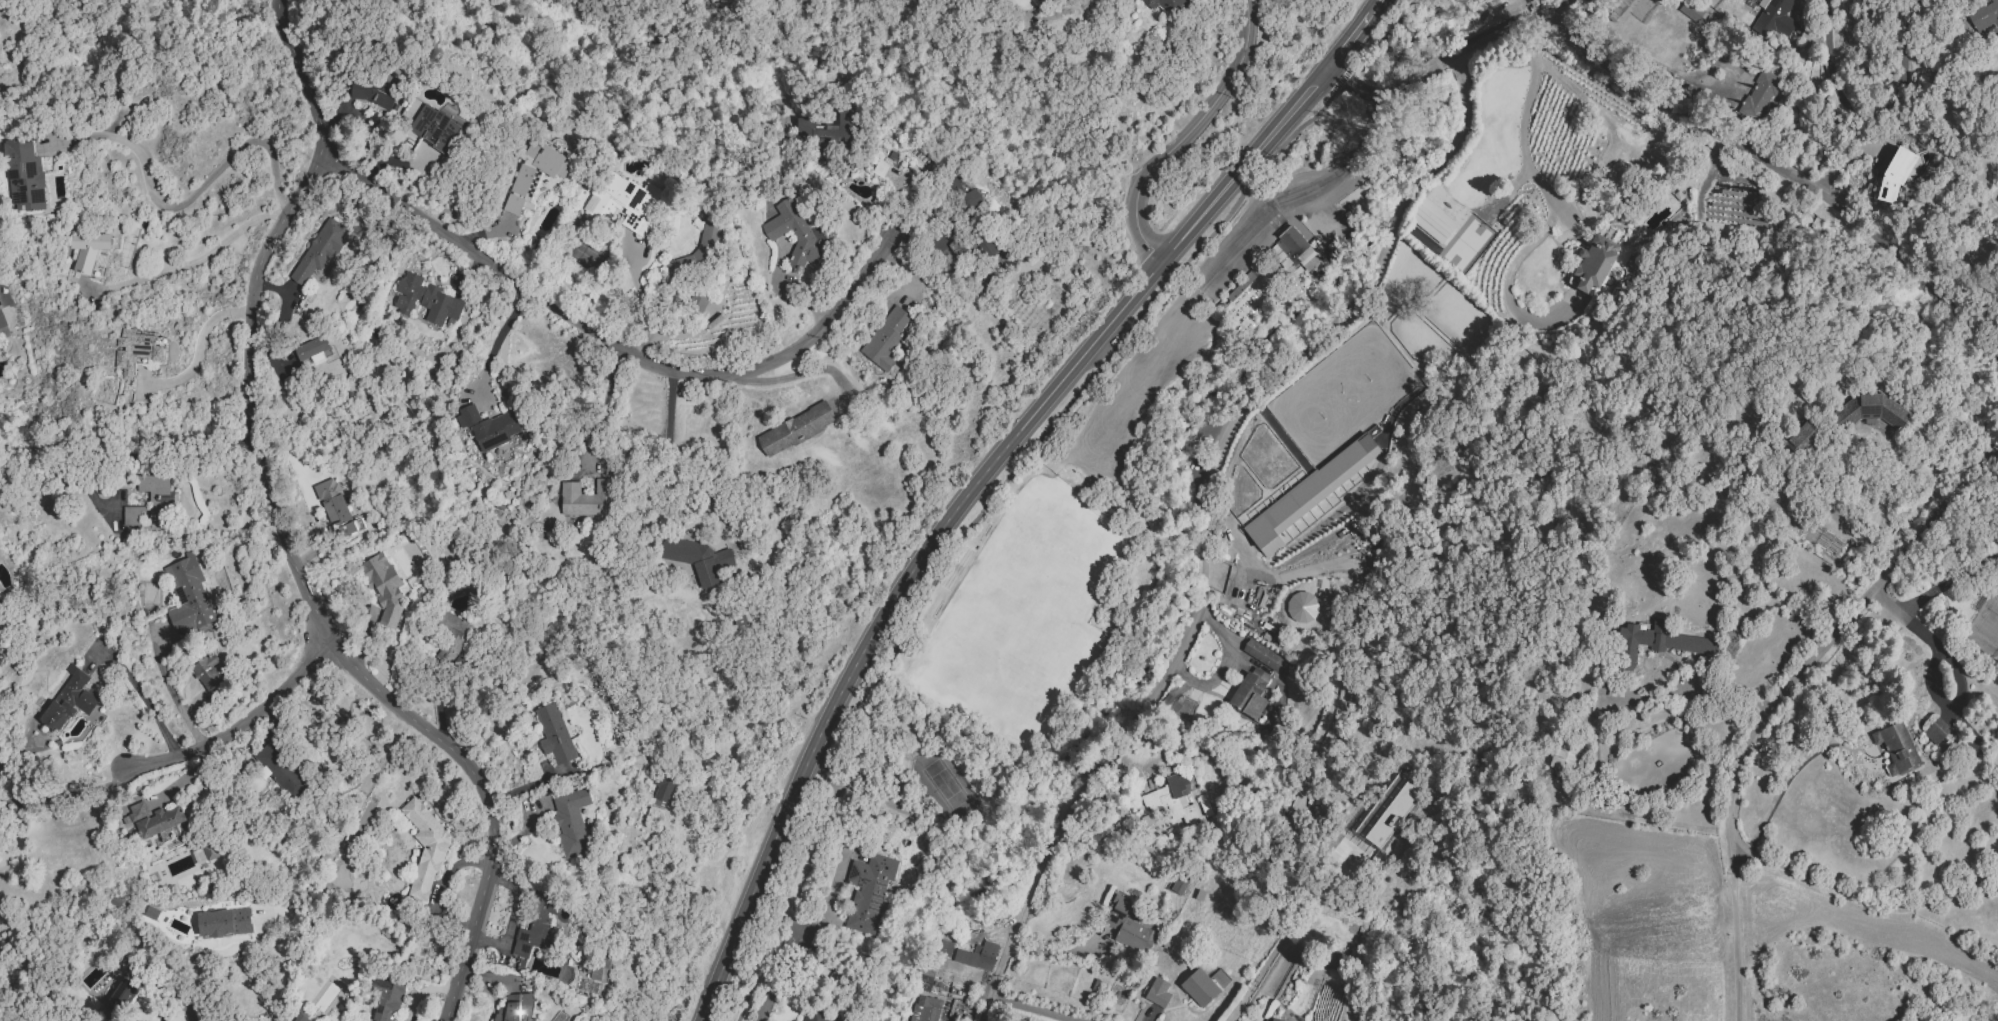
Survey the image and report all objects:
building: (1167, 4)
road: (1373, 9)
building: (1691, 10)
building: (1986, 20)
building: (1774, 21)
road: (1507, 25)
road: (1380, 43)
road: (1347, 44)
road: (1659, 49)
road: (1448, 56)
road: (1430, 68)
building: (372, 93)
building: (1759, 93)
road: (1373, 94)
road: (1868, 114)
road: (1524, 118)
building: (434, 128)
building: (828, 134)
road: (1186, 134)
building: (546, 160)
building: (1894, 174)
building: (24, 175)
building: (890, 175)
road: (1774, 175)
building: (519, 189)
road: (194, 194)
building: (964, 194)
building: (624, 201)
building: (1432, 220)
building: (792, 234)
building: (984, 245)
building: (1293, 246)
building: (320, 249)
building: (87, 250)
road: (1230, 257)
building: (1593, 264)
road: (193, 265)
park: (1405, 279)
road: (1506, 290)
building: (426, 299)
road: (641, 301)
building: (698, 303)
parking lot: (1208, 308)
park: (1454, 314)
building: (2, 320)
park: (1418, 337)
building: (885, 338)
road: (500, 339)
road: (605, 345)
road: (195, 349)
building: (312, 350)
building: (135, 351)
park: (1343, 393)
road: (604, 404)
building: (1869, 414)
building: (488, 427)
building: (795, 429)
road: (132, 436)
building: (1802, 438)
road: (682, 458)
building: (1308, 494)
building: (586, 498)
building: (152, 500)
building: (334, 508)
road: (956, 510)
road: (984, 515)
road: (1202, 516)
road: (282, 539)
building: (695, 553)
road: (1286, 575)
road: (1947, 583)
building: (383, 586)
building: (188, 596)
park: (1025, 604)
park: (1986, 631)
building: (451, 636)
road: (1829, 639)
building: (1661, 645)
building: (1262, 655)
road: (1946, 659)
building: (207, 672)
road: (1931, 683)
road: (138, 691)
road: (1066, 691)
road: (1692, 692)
road: (172, 696)
building: (1252, 697)
building: (73, 702)
building: (1178, 708)
road: (237, 726)
building: (1939, 733)
building: (554, 734)
building: (1898, 751)
building: (281, 769)
park: (944, 783)
building: (662, 788)
road: (1778, 788)
road: (66, 796)
building: (1173, 802)
building: (1205, 808)
building: (1387, 811)
building: (154, 819)
building: (571, 821)
building: (425, 848)
building: (206, 853)
building: (1179, 884)
building: (869, 893)
road: (1863, 900)
building: (151, 913)
building: (224, 922)
building: (537, 926)
building: (1127, 926)
road: (1735, 947)
building: (945, 948)
road: (1058, 953)
building: (978, 956)
building: (600, 968)
road: (283, 972)
road: (778, 976)
building: (925, 978)
building: (1199, 988)
building: (123, 992)
building: (1157, 992)
road: (421, 993)
building: (386, 999)
building: (514, 1008)
building: (925, 1009)
road: (1033, 1009)
building: (815, 1013)
road: (1994, 1017)
building: (303, 1018)
building: (1274, 1020)

